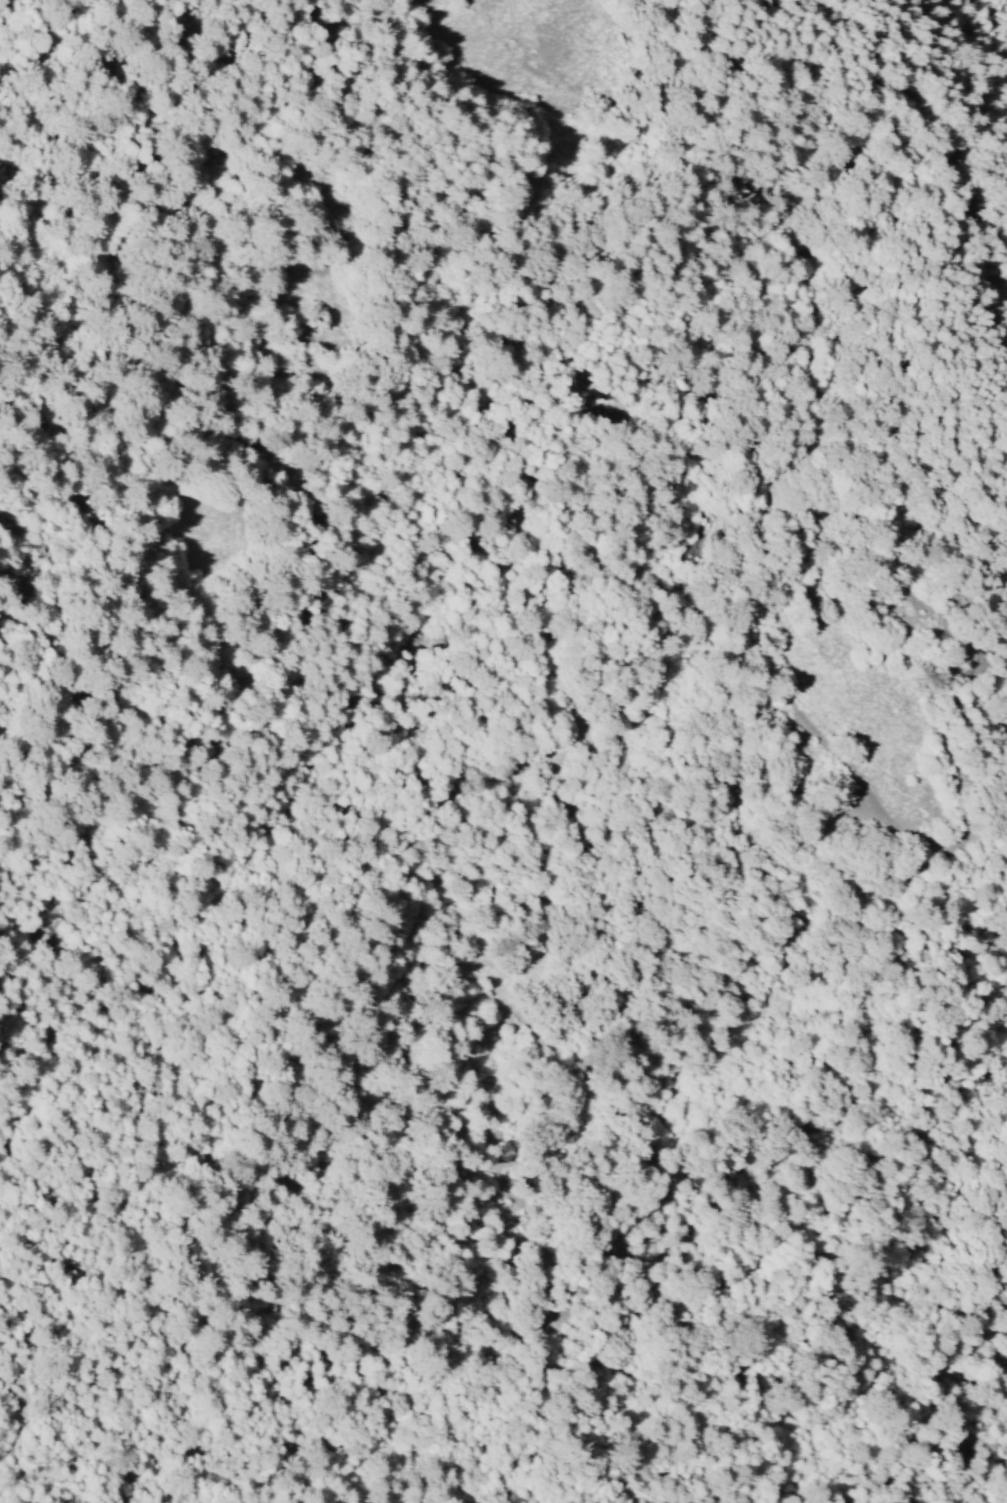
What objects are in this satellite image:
road: (866, 92)

